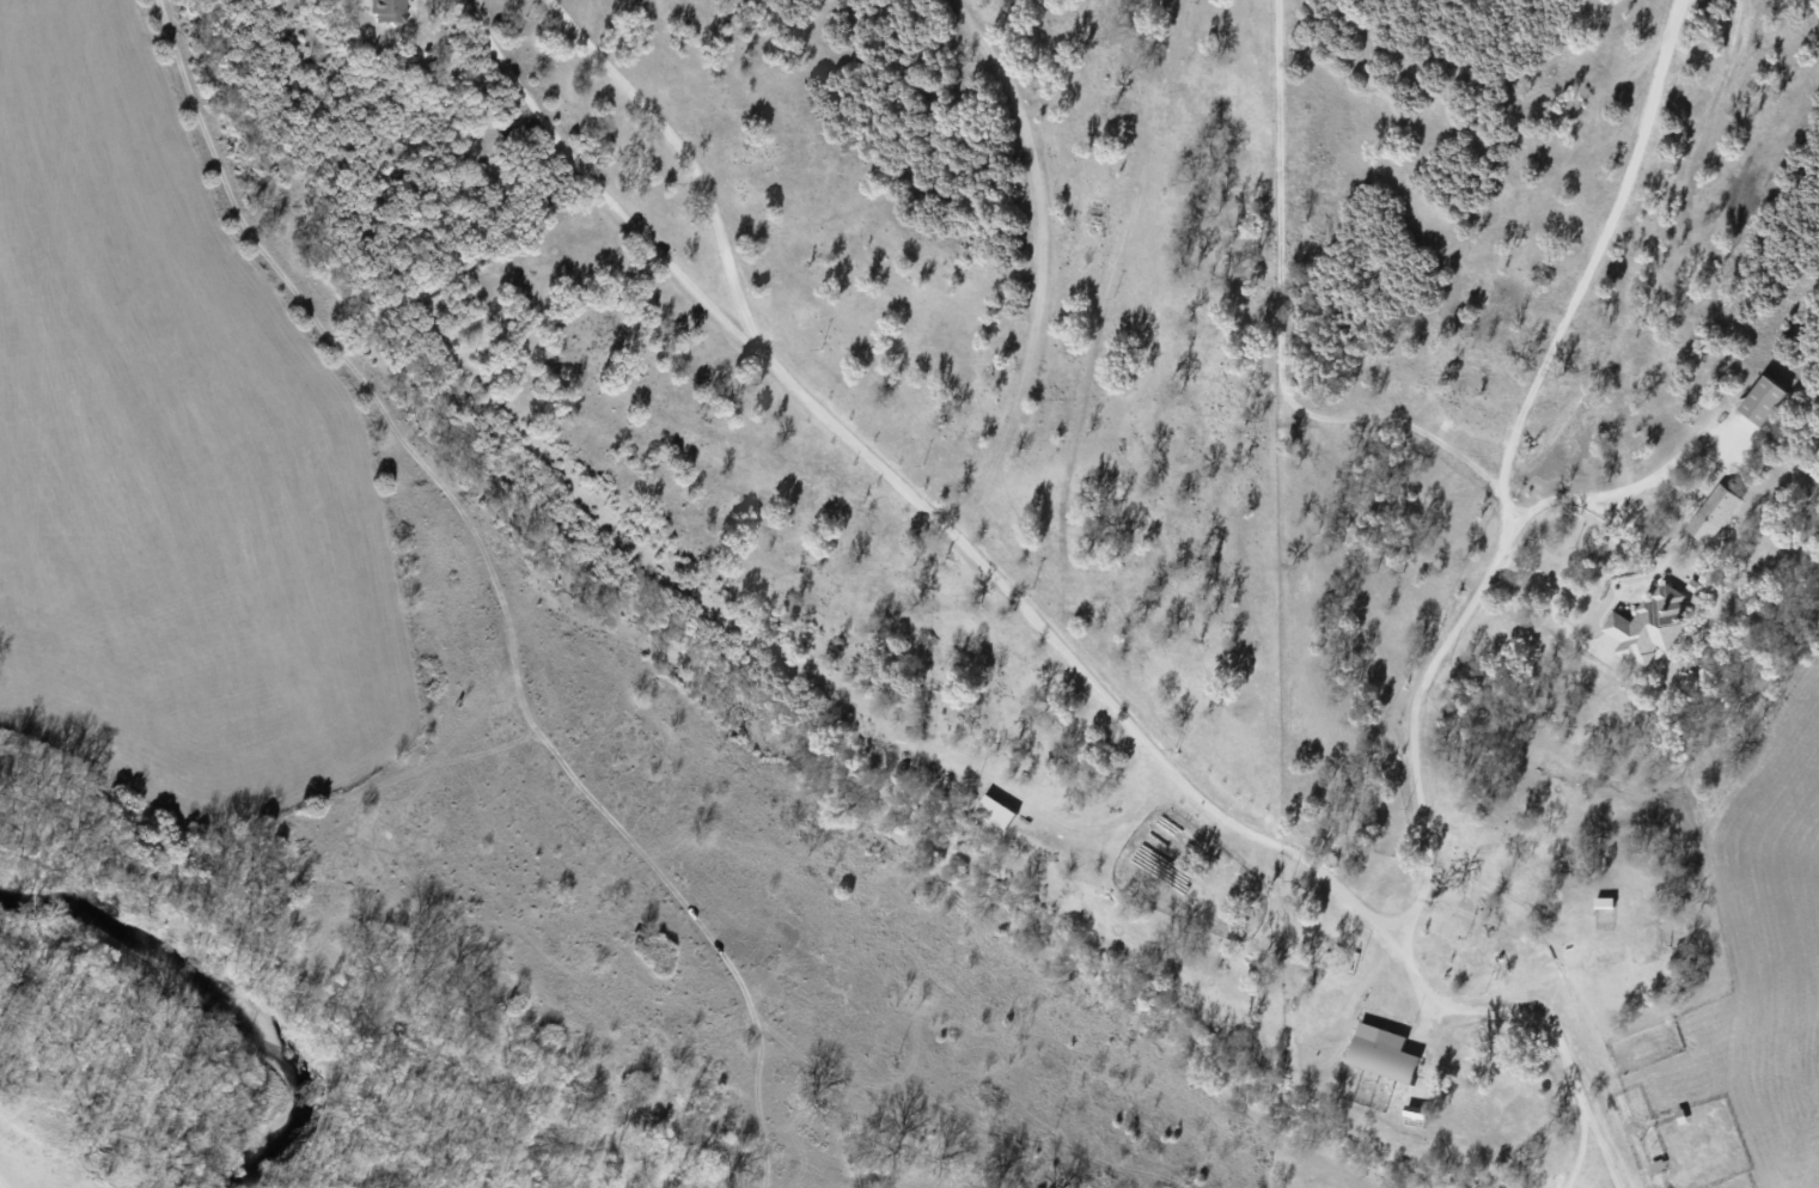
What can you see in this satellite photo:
building: (386, 10)
road: (407, 392)
building: (1760, 400)
road: (1623, 489)
building: (1713, 513)
road: (1550, 591)
road: (1038, 622)
building: (1648, 623)
road: (1414, 719)
building: (995, 810)
building: (1381, 1052)

